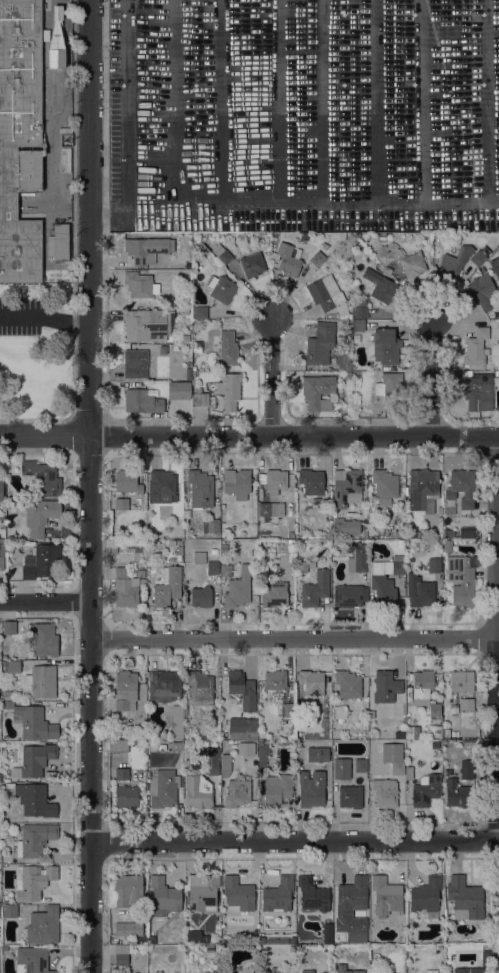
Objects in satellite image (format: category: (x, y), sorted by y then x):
building: (56, 43)
building: (52, 91)
road: (125, 125)
building: (20, 137)
road: (235, 198)
road: (147, 207)
road: (90, 219)
building: (60, 242)
building: (324, 246)
building: (194, 248)
building: (203, 248)
building: (142, 249)
building: (221, 254)
building: (478, 257)
building: (289, 259)
building: (317, 259)
building: (401, 259)
building: (455, 261)
building: (252, 265)
building: (494, 266)
building: (140, 285)
building: (380, 286)
building: (221, 288)
building: (482, 292)
building: (328, 296)
building: (349, 299)
building: (360, 309)
building: (185, 311)
building: (200, 312)
road: (45, 321)
building: (149, 323)
building: (358, 325)
building: (185, 338)
building: (319, 343)
building: (385, 346)
building: (225, 347)
building: (478, 347)
building: (344, 360)
building: (135, 364)
building: (346, 375)
building: (178, 376)
road: (438, 377)
road: (273, 378)
building: (179, 390)
building: (229, 390)
building: (389, 390)
building: (478, 390)
building: (317, 392)
building: (201, 398)
building: (142, 402)
road: (45, 437)
road: (294, 437)
building: (43, 478)
building: (275, 481)
building: (127, 482)
building: (311, 482)
building: (237, 483)
building: (161, 487)
building: (346, 487)
building: (384, 487)
building: (422, 488)
building: (460, 488)
building: (200, 490)
building: (1, 492)
building: (10, 504)
building: (121, 504)
building: (271, 509)
building: (450, 509)
building: (40, 516)
building: (212, 525)
building: (346, 526)
building: (466, 531)
building: (410, 533)
building: (449, 533)
building: (291, 534)
building: (400, 534)
building: (363, 535)
building: (299, 542)
building: (400, 544)
building: (447, 545)
building: (9, 549)
building: (112, 549)
building: (179, 550)
building: (214, 551)
building: (253, 552)
building: (2, 556)
building: (178, 557)
building: (199, 557)
building: (358, 559)
building: (172, 560)
building: (284, 560)
building: (41, 562)
building: (434, 565)
building: (303, 566)
building: (212, 568)
building: (225, 571)
building: (254, 580)
building: (386, 580)
building: (461, 580)
building: (167, 587)
building: (238, 588)
building: (124, 589)
building: (316, 590)
building: (419, 591)
building: (274, 594)
building: (349, 595)
building: (201, 596)
road: (46, 603)
building: (0, 627)
building: (9, 628)
building: (44, 639)
road: (295, 640)
building: (11, 667)
building: (7, 679)
building: (275, 679)
building: (42, 681)
building: (461, 681)
building: (311, 682)
building: (348, 684)
building: (164, 685)
building: (385, 687)
building: (200, 688)
building: (242, 689)
building: (125, 690)
building: (424, 691)
building: (467, 704)
road: (92, 705)
building: (298, 709)
building: (287, 710)
building: (340, 713)
building: (29, 719)
building: (177, 721)
building: (243, 728)
building: (412, 732)
building: (446, 732)
building: (454, 733)
building: (118, 746)
building: (176, 746)
building: (246, 748)
building: (436, 753)
building: (262, 754)
building: (317, 754)
building: (34, 760)
building: (211, 760)
building: (225, 765)
building: (360, 765)
building: (397, 767)
building: (341, 768)
building: (467, 769)
building: (408, 773)
building: (121, 774)
building: (0, 777)
building: (163, 788)
building: (197, 788)
building: (311, 789)
building: (276, 790)
building: (425, 791)
building: (237, 793)
building: (385, 793)
building: (459, 794)
building: (127, 796)
building: (350, 797)
building: (32, 799)
building: (33, 840)
road: (295, 842)
building: (33, 881)
building: (124, 892)
building: (202, 892)
building: (351, 893)
building: (238, 894)
building: (278, 894)
building: (312, 894)
building: (164, 896)
building: (386, 896)
building: (426, 896)
building: (465, 898)
building: (9, 911)
building: (498, 913)
building: (43, 926)
building: (121, 929)
building: (218, 929)
building: (196, 936)
building: (304, 937)
building: (136, 938)
building: (342, 939)
building: (327, 940)
building: (4, 949)
building: (292, 949)
building: (121, 955)
building: (32, 960)
building: (498, 963)
building: (340, 969)
building: (274, 970)
building: (469, 970)
building: (307, 971)
building: (431, 971)
building: (211, 972)

